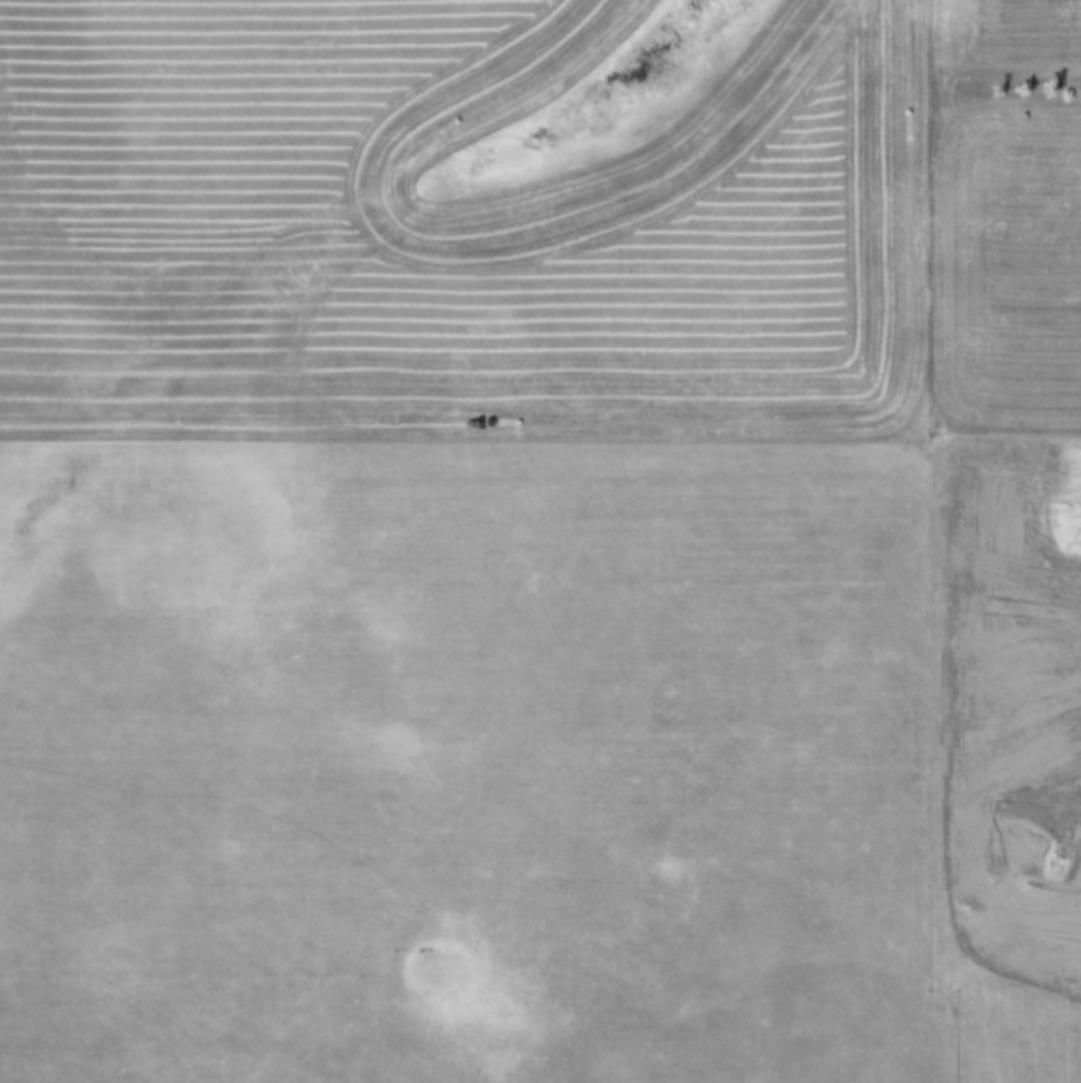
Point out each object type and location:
road: (952, 1033)

